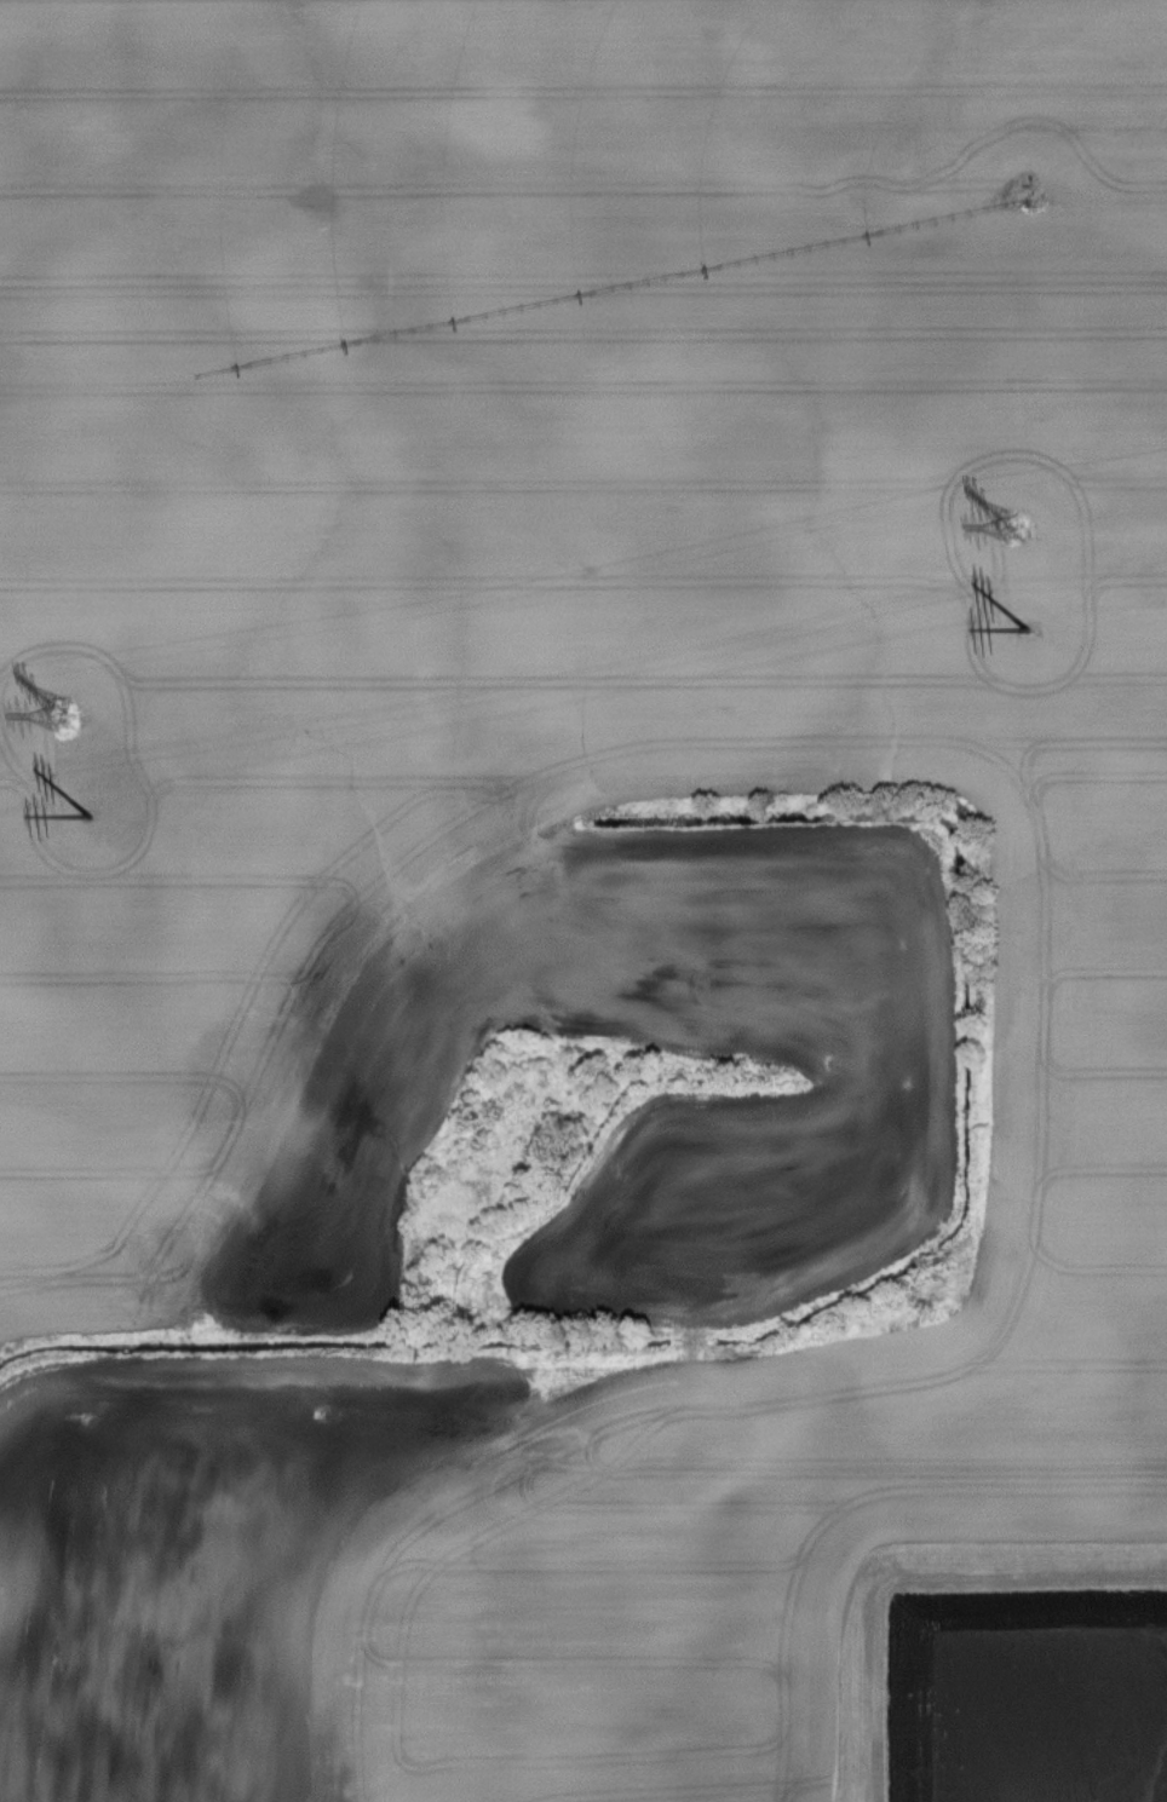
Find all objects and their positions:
power tower: (1011, 528)
power tower: (1022, 627)
power tower: (62, 714)
power tower: (81, 810)

